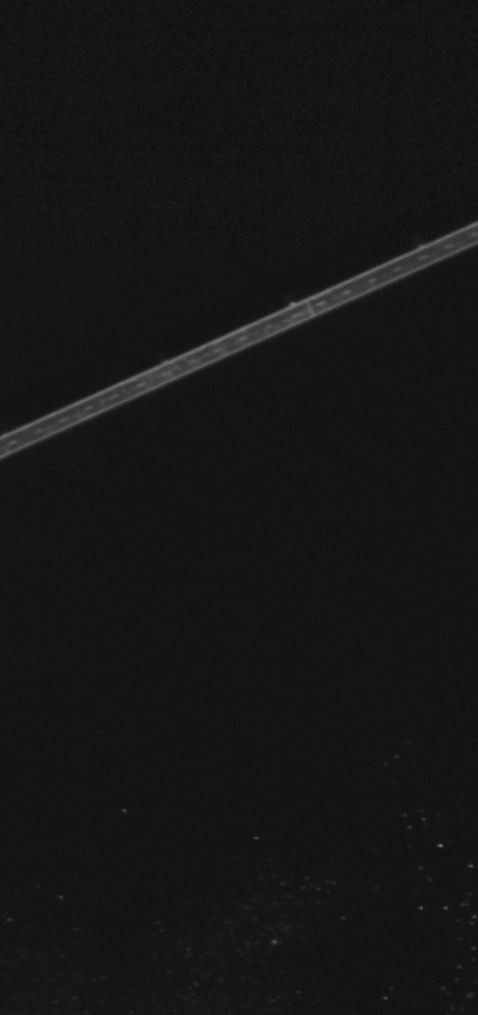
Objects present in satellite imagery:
road: (239, 347)
river: (239, 709)

